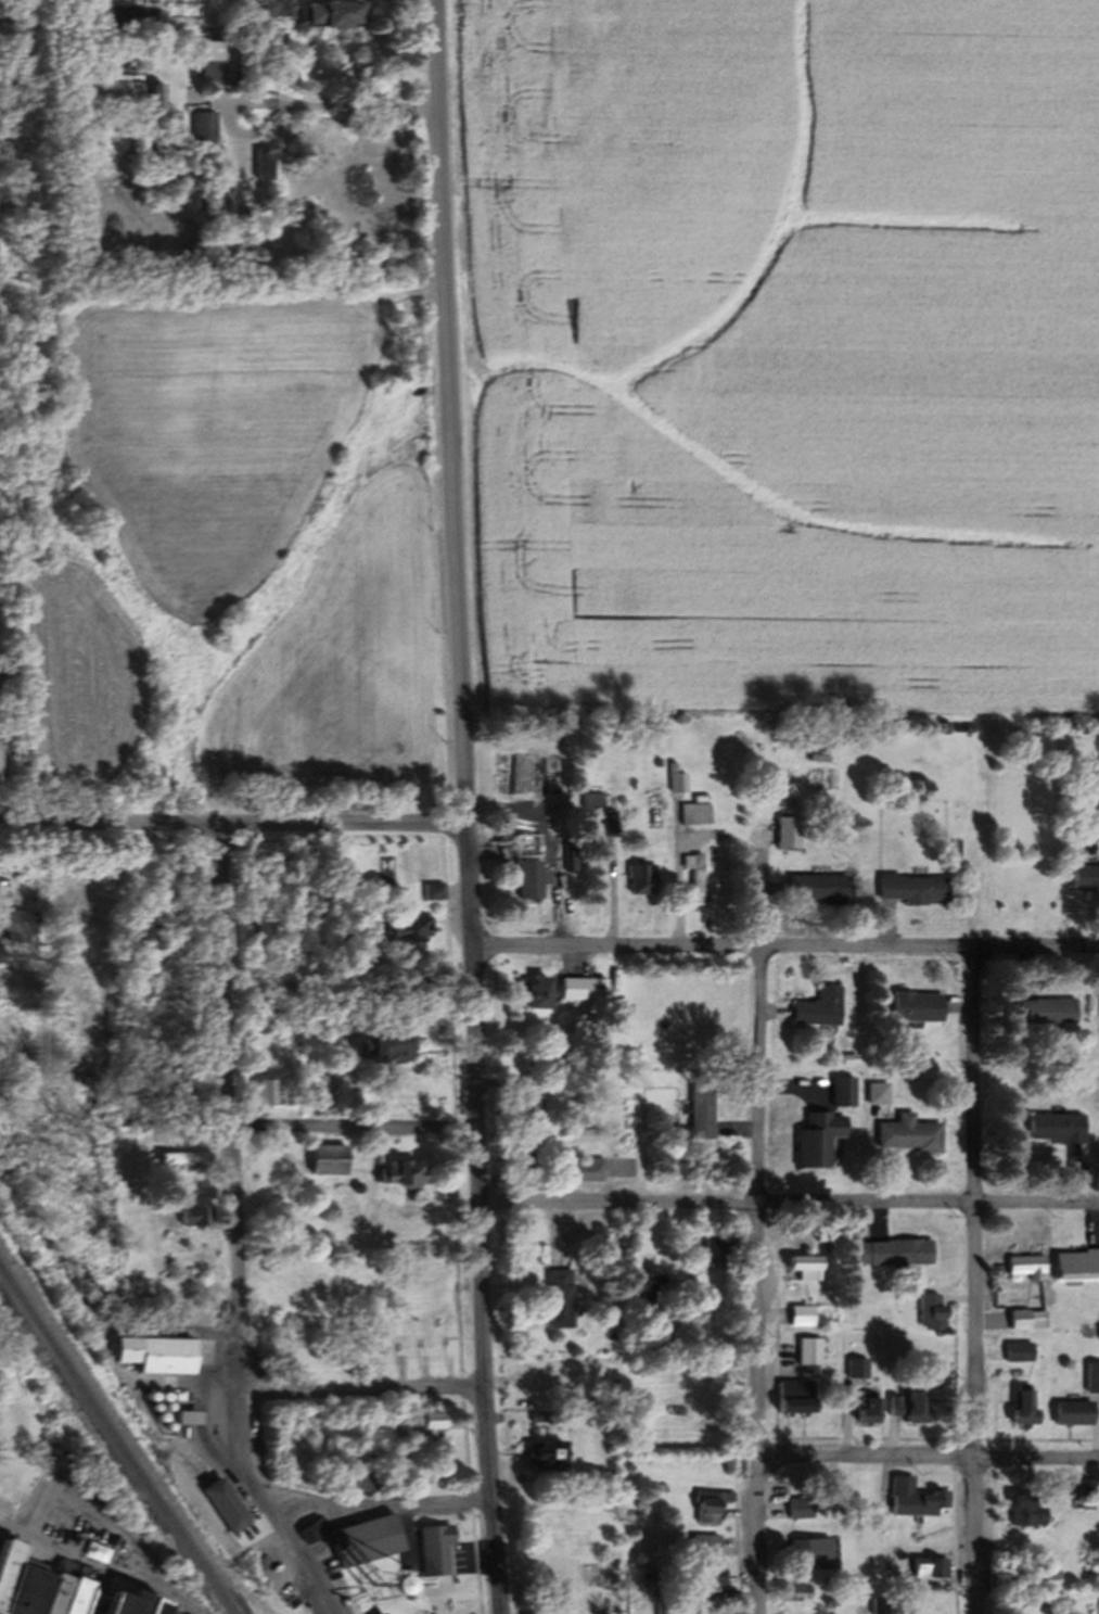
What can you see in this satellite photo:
building: (278, 8)
building: (333, 13)
building: (221, 64)
building: (546, 72)
building: (116, 96)
building: (205, 127)
building: (266, 165)
building: (215, 187)
building: (819, 755)
building: (673, 779)
building: (587, 800)
road: (460, 806)
building: (692, 811)
road: (230, 822)
building: (565, 857)
building: (524, 869)
building: (690, 875)
building: (1085, 877)
building: (637, 879)
building: (910, 888)
building: (816, 889)
building: (427, 891)
building: (14, 926)
building: (407, 928)
road: (782, 944)
building: (573, 989)
building: (532, 994)
building: (916, 1007)
building: (817, 1008)
building: (1046, 1012)
building: (333, 1028)
building: (379, 1050)
building: (529, 1082)
building: (263, 1092)
building: (843, 1093)
building: (878, 1094)
building: (531, 1111)
building: (702, 1113)
road: (349, 1127)
building: (1057, 1128)
building: (909, 1134)
building: (819, 1140)
building: (183, 1158)
building: (524, 1158)
building: (328, 1159)
building: (582, 1170)
building: (139, 1173)
building: (401, 1174)
road: (789, 1202)
building: (193, 1217)
road: (231, 1232)
building: (715, 1243)
building: (895, 1253)
building: (1077, 1264)
building: (807, 1267)
building: (1027, 1268)
road: (759, 1279)
road: (974, 1280)
building: (647, 1282)
building: (564, 1298)
building: (933, 1312)
building: (804, 1316)
building: (1028, 1319)
building: (156, 1351)
building: (813, 1351)
building: (1021, 1351)
building: (860, 1368)
building: (1094, 1377)
road: (365, 1388)
building: (801, 1397)
building: (913, 1406)
building: (1027, 1408)
building: (872, 1410)
building: (1077, 1412)
building: (433, 1432)
railway: (116, 1446)
building: (552, 1456)
road: (931, 1456)
building: (49, 1461)
building: (365, 1482)
building: (1091, 1487)
building: (919, 1498)
road: (380, 1501)
road: (92, 1504)
building: (228, 1505)
building: (5, 1507)
building: (714, 1507)
building: (807, 1508)
building: (1032, 1510)
parking lot: (78, 1523)
building: (316, 1529)
building: (372, 1539)
building: (710, 1545)
building: (439, 1548)
building: (817, 1553)
road: (103, 1562)
building: (10, 1566)
building: (935, 1567)
building: (1038, 1574)
building: (710, 1575)
building: (392, 1580)
building: (61, 1587)
building: (29, 1588)
water tower: (372, 1588)
building: (80, 1590)
building: (800, 1592)
building: (125, 1599)
building: (1034, 1600)
building: (95, 1602)
building: (883, 1605)
building: (156, 1606)
building: (535, 1612)
building: (168, 1613)
building: (383, 1613)
building: (385, 1613)

